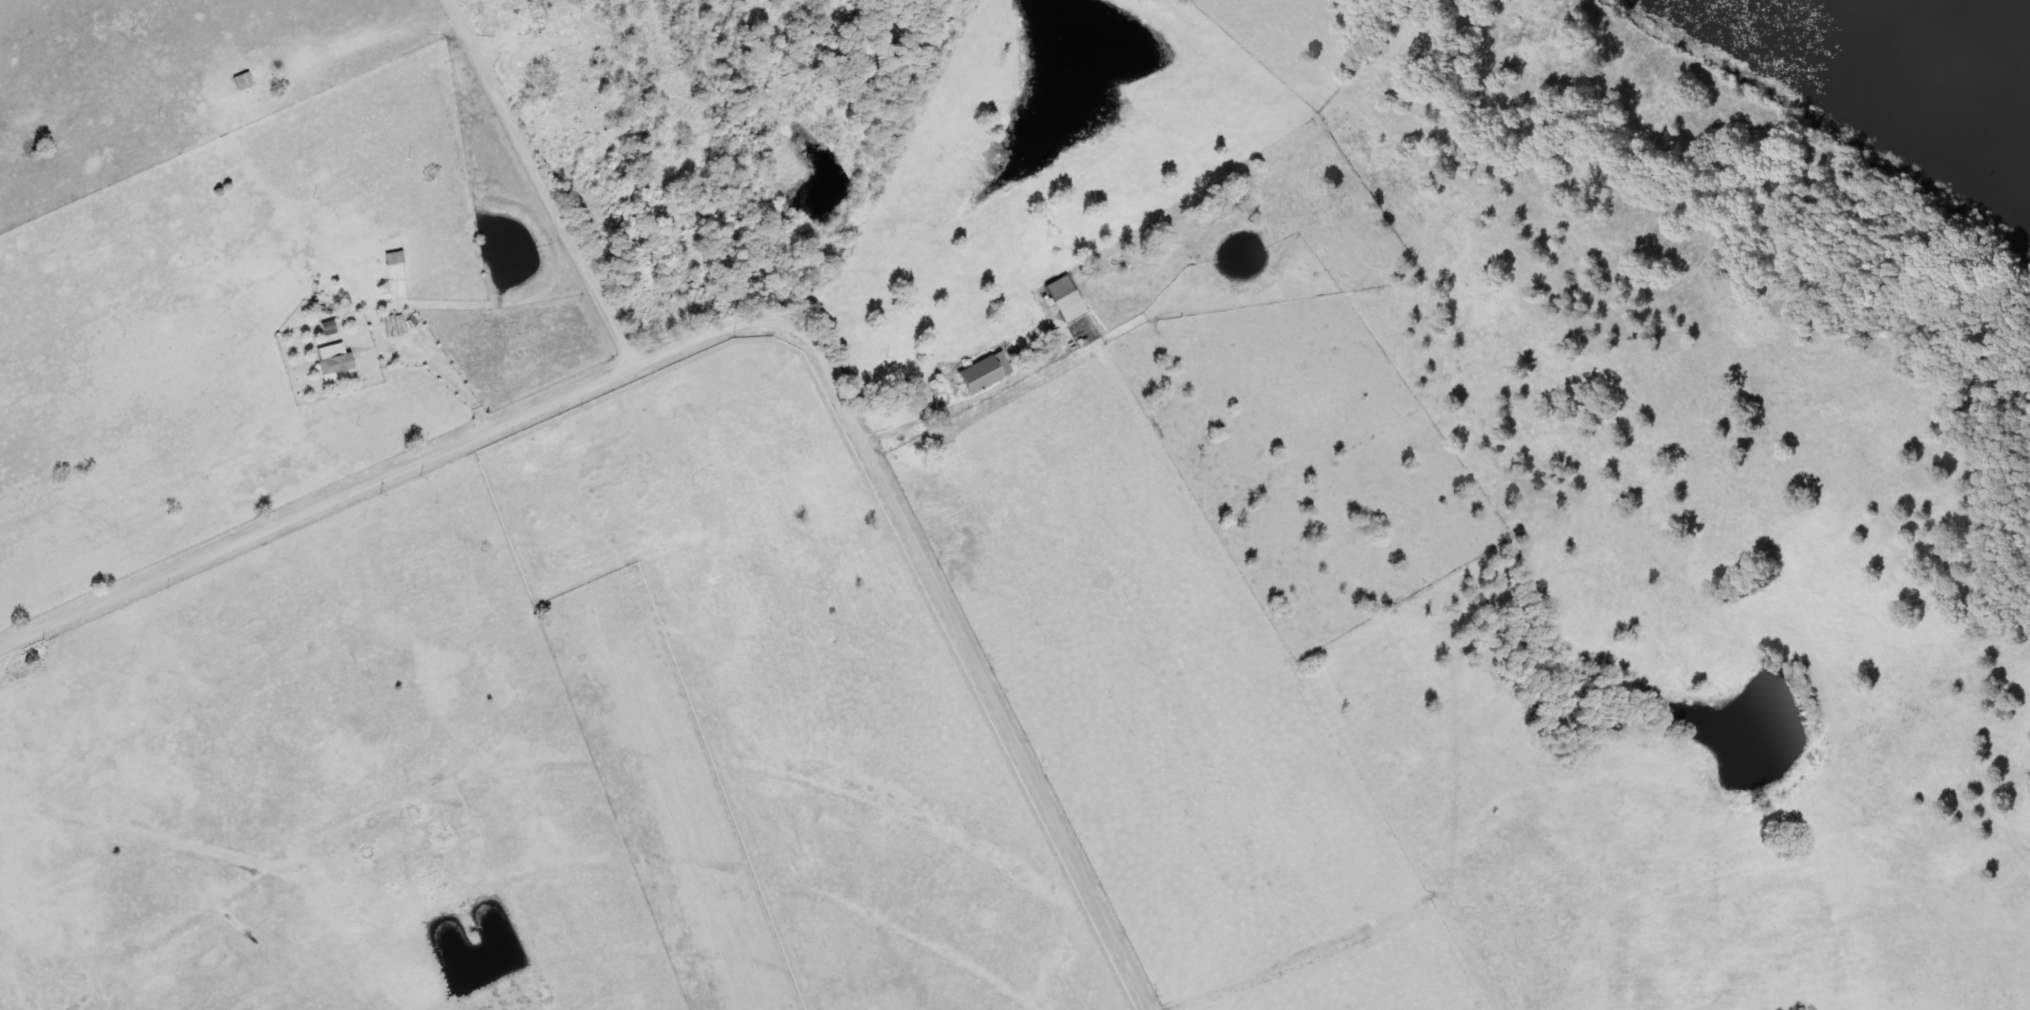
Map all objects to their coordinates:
building: (236, 81)
road: (554, 210)
building: (391, 257)
building: (1067, 305)
building: (331, 358)
road: (315, 506)
road: (935, 586)
road: (1828, 761)

